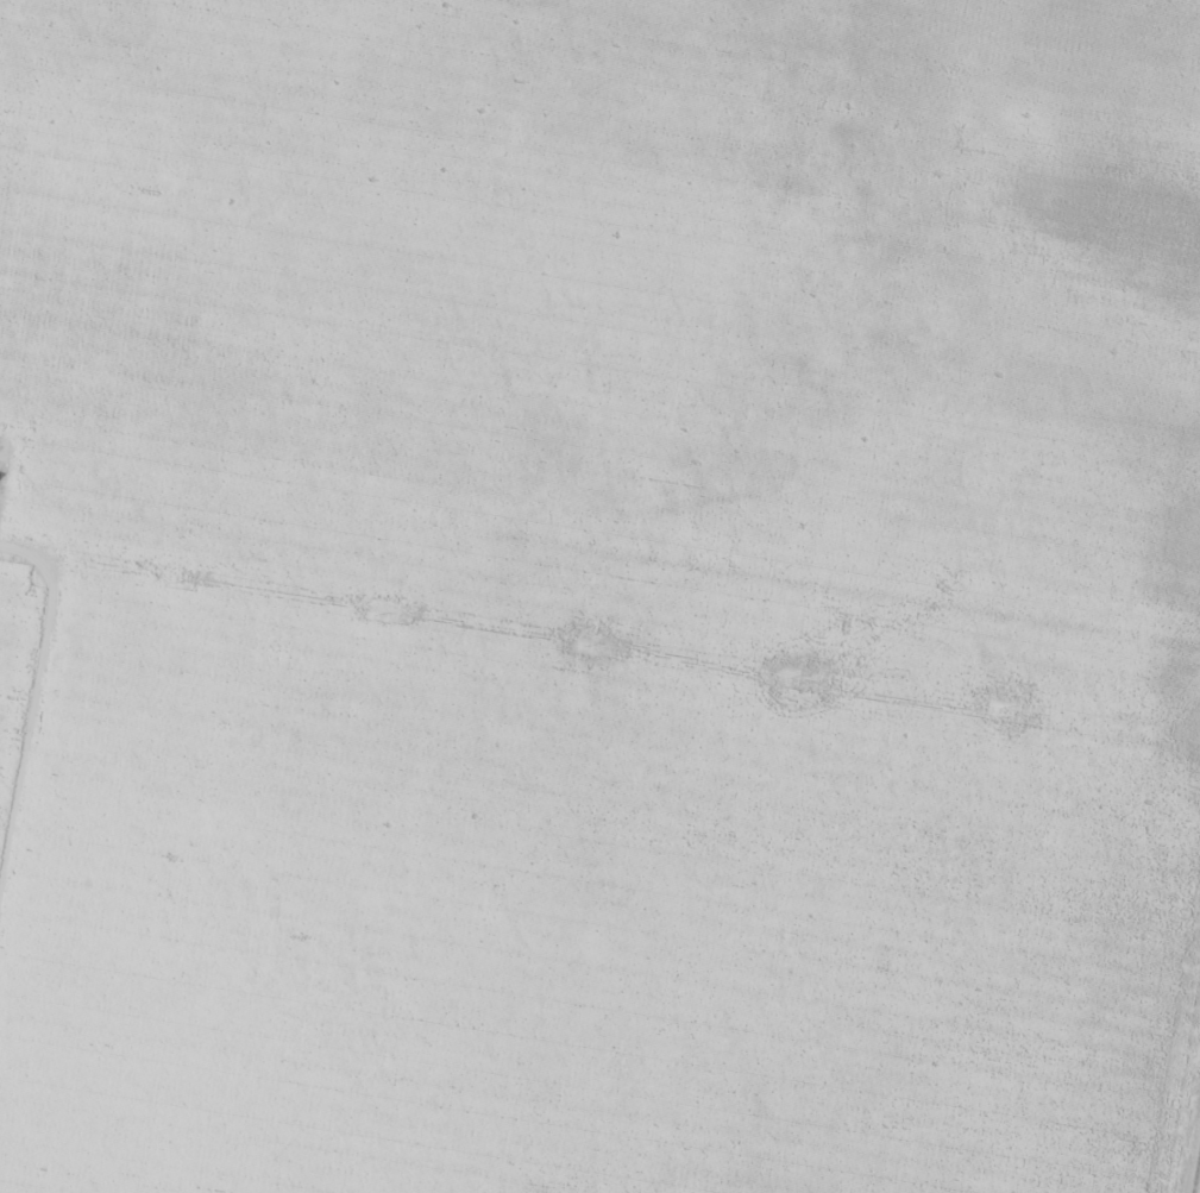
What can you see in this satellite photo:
road: (1193, 1154)

